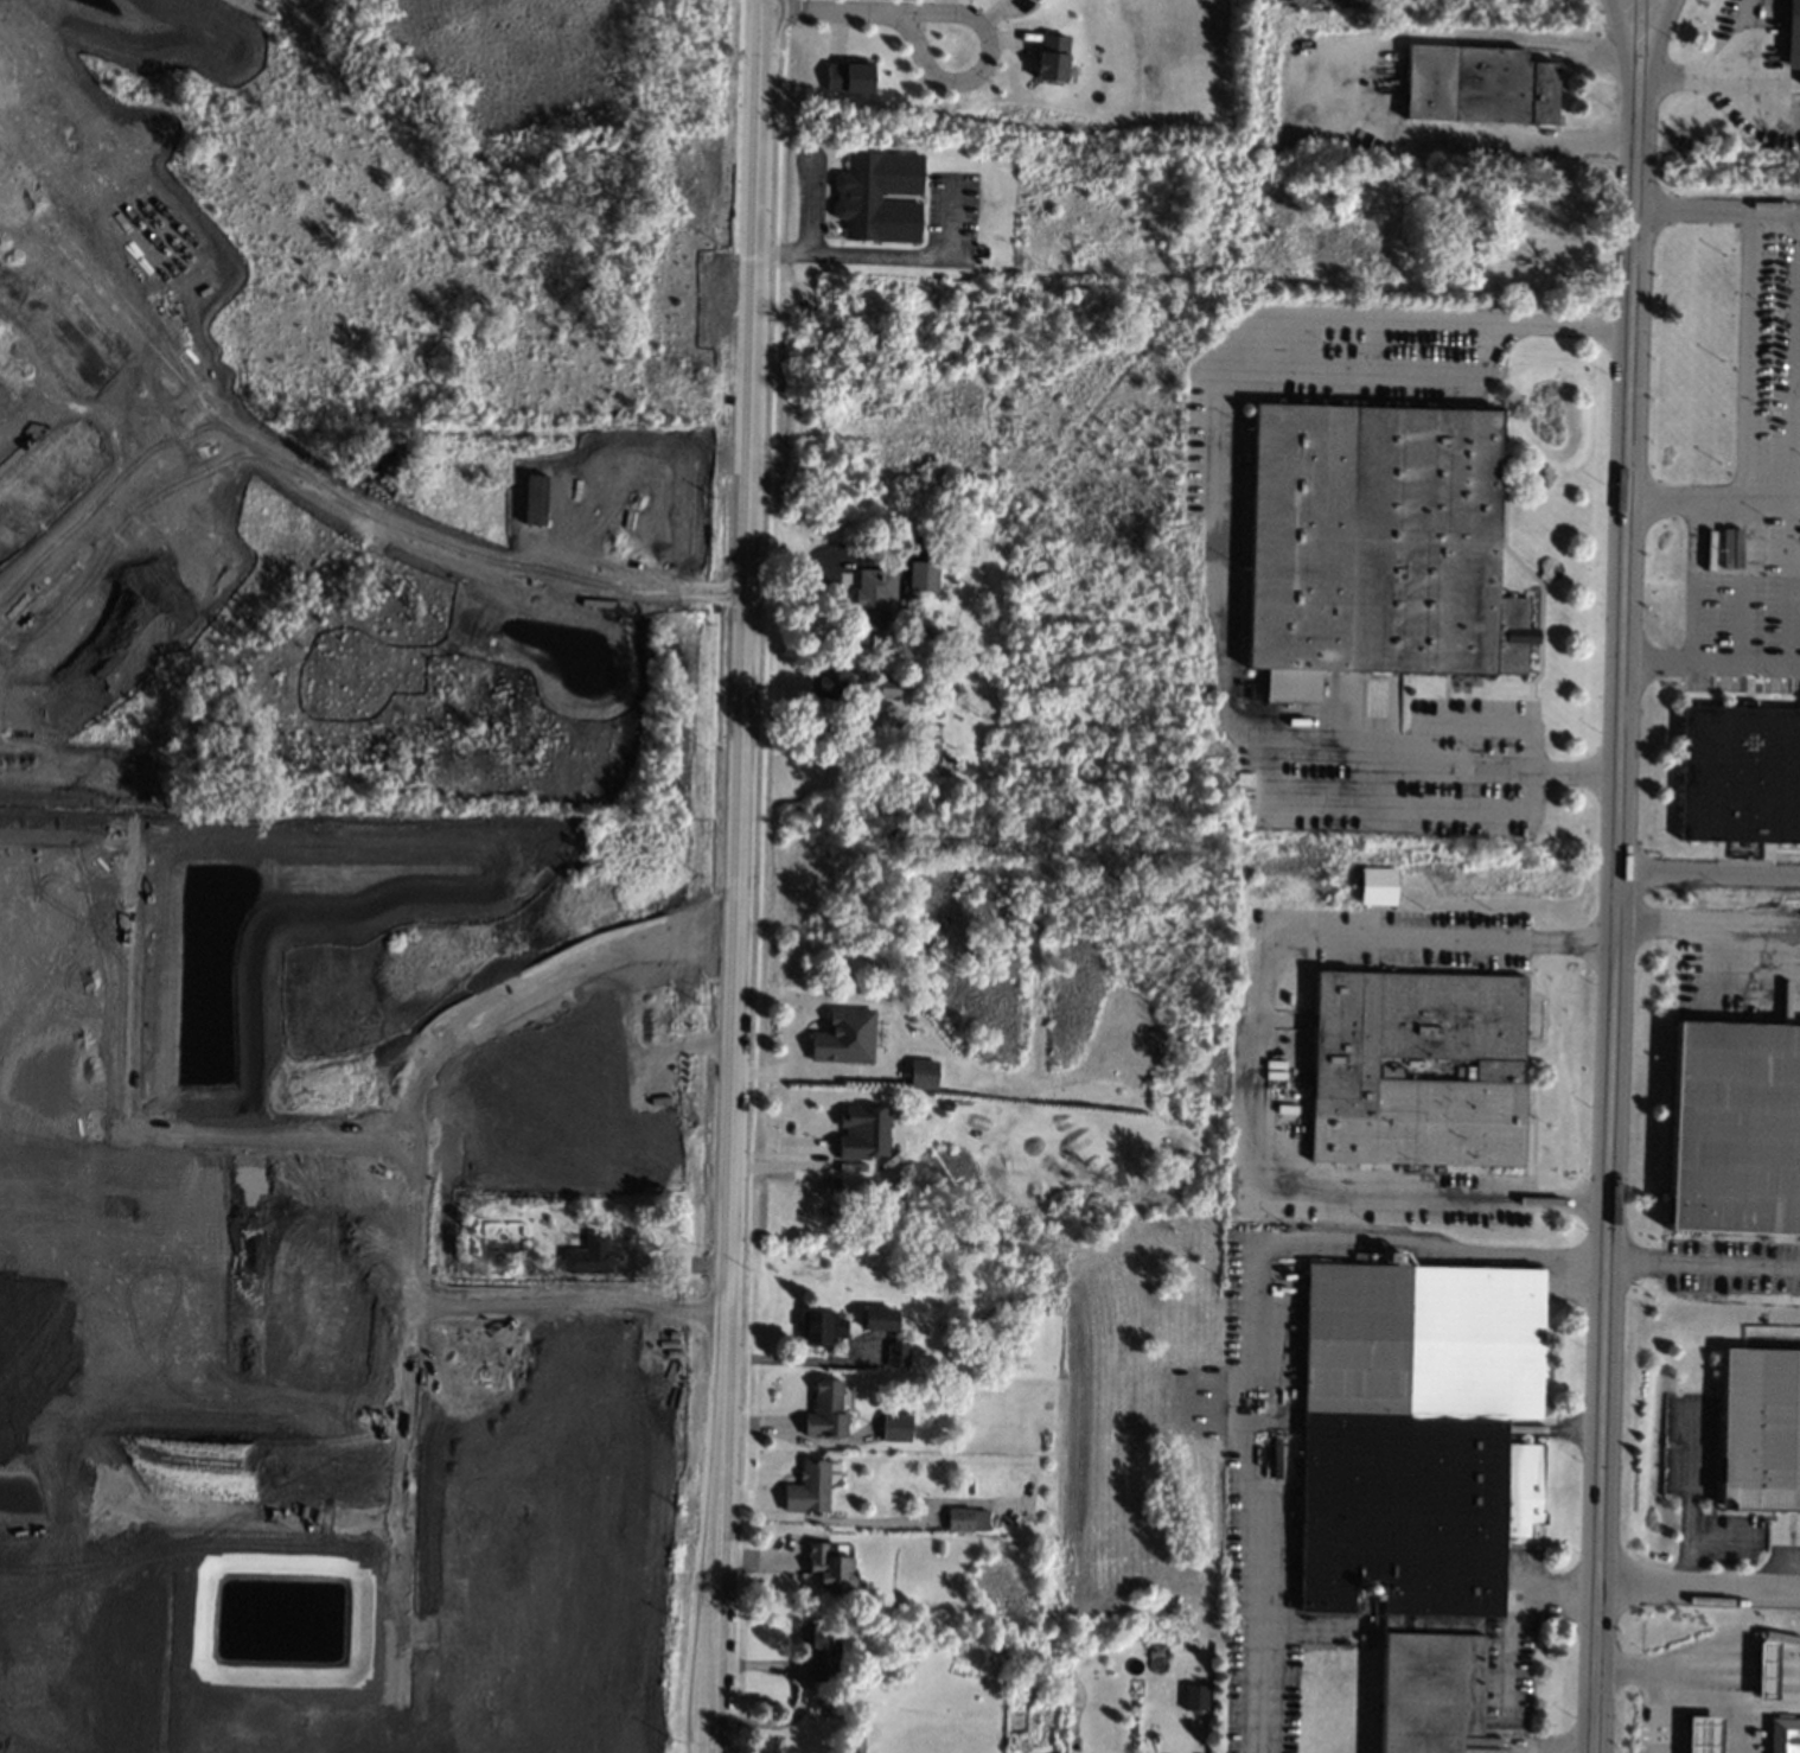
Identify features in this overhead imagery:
building: (1032, 0)
road: (830, 9)
road: (786, 14)
road: (1629, 24)
road: (1659, 24)
building: (1792, 34)
building: (1049, 57)
road: (982, 65)
building: (848, 76)
road: (1724, 77)
building: (36, 79)
road: (1349, 82)
building: (1477, 84)
building: (1330, 89)
road: (1762, 102)
road: (736, 132)
road: (1, 176)
building: (879, 196)
road: (810, 203)
road: (1692, 212)
road: (1774, 213)
building: (138, 227)
road: (889, 257)
building: (59, 319)
road: (1747, 353)
road: (1795, 372)
road: (38, 400)
road: (1798, 402)
building: (46, 482)
road: (314, 489)
road: (1686, 491)
road: (1769, 493)
road: (1795, 499)
road: (103, 502)
building: (631, 525)
road: (1220, 525)
building: (1375, 546)
building: (921, 575)
road: (1744, 578)
road: (1789, 579)
building: (110, 585)
building: (873, 597)
building: (912, 605)
road: (1711, 662)
building: (829, 683)
building: (894, 687)
building: (1740, 773)
road: (1709, 872)
road: (736, 875)
building: (1377, 885)
road: (758, 891)
road: (132, 892)
road: (1615, 899)
building: (52, 933)
road: (1258, 964)
road: (522, 1014)
building: (844, 1035)
building: (1416, 1067)
road: (816, 1072)
building: (921, 1072)
road: (410, 1120)
building: (1735, 1128)
building: (863, 1132)
road: (266, 1137)
road: (390, 1140)
road: (406, 1207)
building: (587, 1255)
road: (1502, 1256)
road: (1704, 1262)
road: (563, 1301)
building: (877, 1318)
building: (822, 1326)
road: (384, 1331)
building: (896, 1353)
building: (825, 1409)
road: (1238, 1422)
building: (895, 1427)
building: (1760, 1429)
building: (1416, 1470)
building: (808, 1487)
road: (1690, 1496)
road: (277, 1518)
building: (959, 1519)
road: (378, 1521)
road: (268, 1537)
road: (375, 1542)
road: (372, 1545)
building: (828, 1568)
road: (1699, 1587)
road: (1508, 1613)
road: (376, 1626)
road: (411, 1628)
road: (1730, 1640)
building: (893, 1643)
road: (166, 1644)
building: (818, 1651)
building: (1766, 1670)
parking lot: (1505, 1671)
road: (1665, 1676)
building: (1193, 1696)
building: (1703, 1734)
gas station: (1703, 1734)
parking lot: (1757, 1734)
building: (1783, 1735)
road: (857, 1736)

